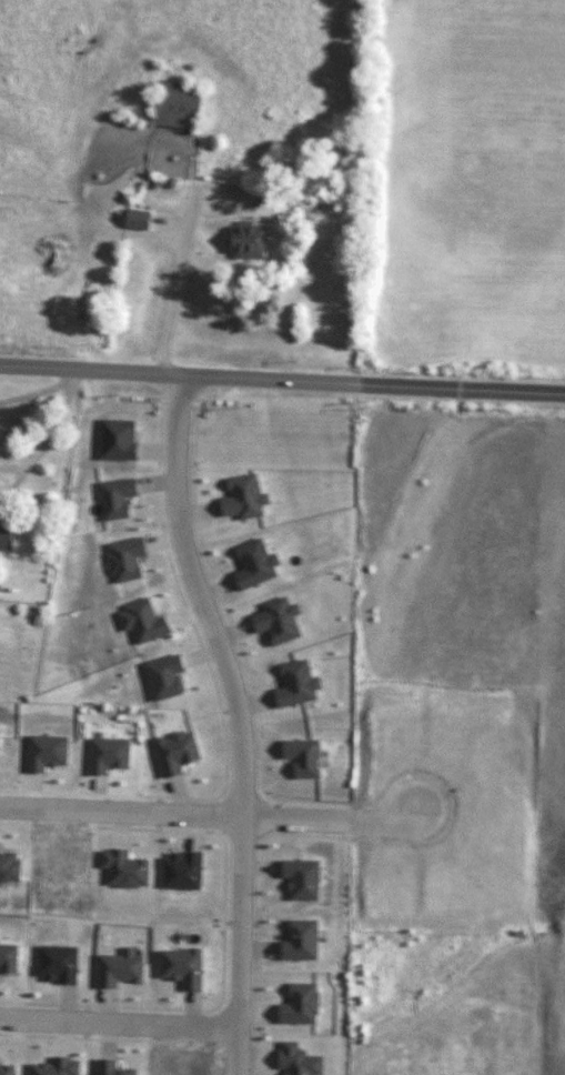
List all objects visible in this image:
building: (176, 104)
building: (137, 217)
building: (248, 239)
road: (170, 295)
road: (282, 375)
road: (178, 404)
road: (57, 421)
building: (115, 438)
road: (12, 468)
road: (13, 484)
building: (119, 495)
building: (241, 496)
building: (3, 537)
building: (124, 560)
building: (249, 564)
building: (140, 620)
building: (273, 622)
road: (235, 642)
building: (164, 676)
building: (291, 683)
road: (221, 705)
road: (238, 717)
building: (44, 751)
building: (174, 751)
building: (110, 753)
building: (300, 757)
road: (243, 797)
road: (208, 812)
road: (219, 815)
road: (266, 817)
road: (242, 835)
building: (8, 866)
building: (123, 868)
building: (180, 871)
building: (297, 878)
road: (256, 912)
road: (224, 921)
building: (299, 938)
building: (8, 955)
building: (57, 963)
building: (182, 966)
building: (119, 968)
building: (296, 1001)
road: (120, 1025)
road: (75, 1037)
building: (297, 1058)
building: (6, 1066)
building: (115, 1067)
building: (53, 1068)

